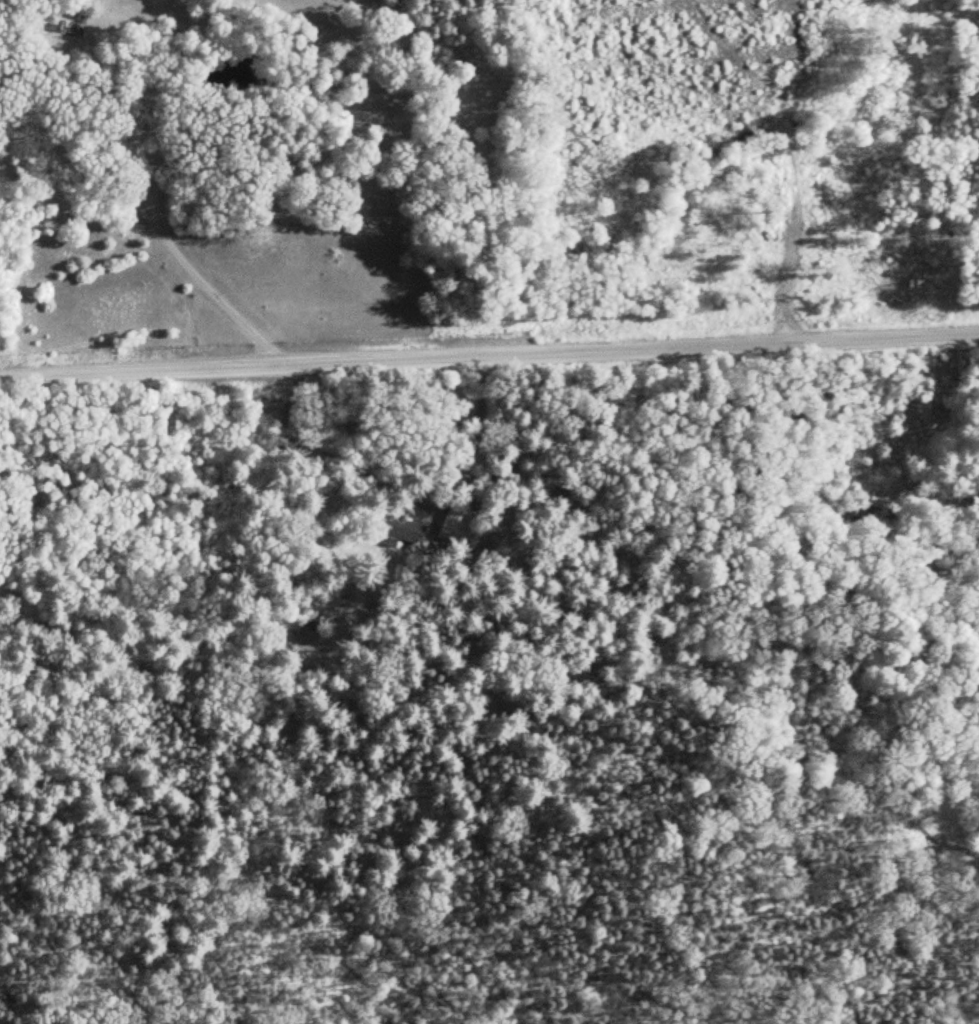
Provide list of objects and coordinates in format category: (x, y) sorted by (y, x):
road: (489, 357)
building: (457, 524)
building: (398, 529)

